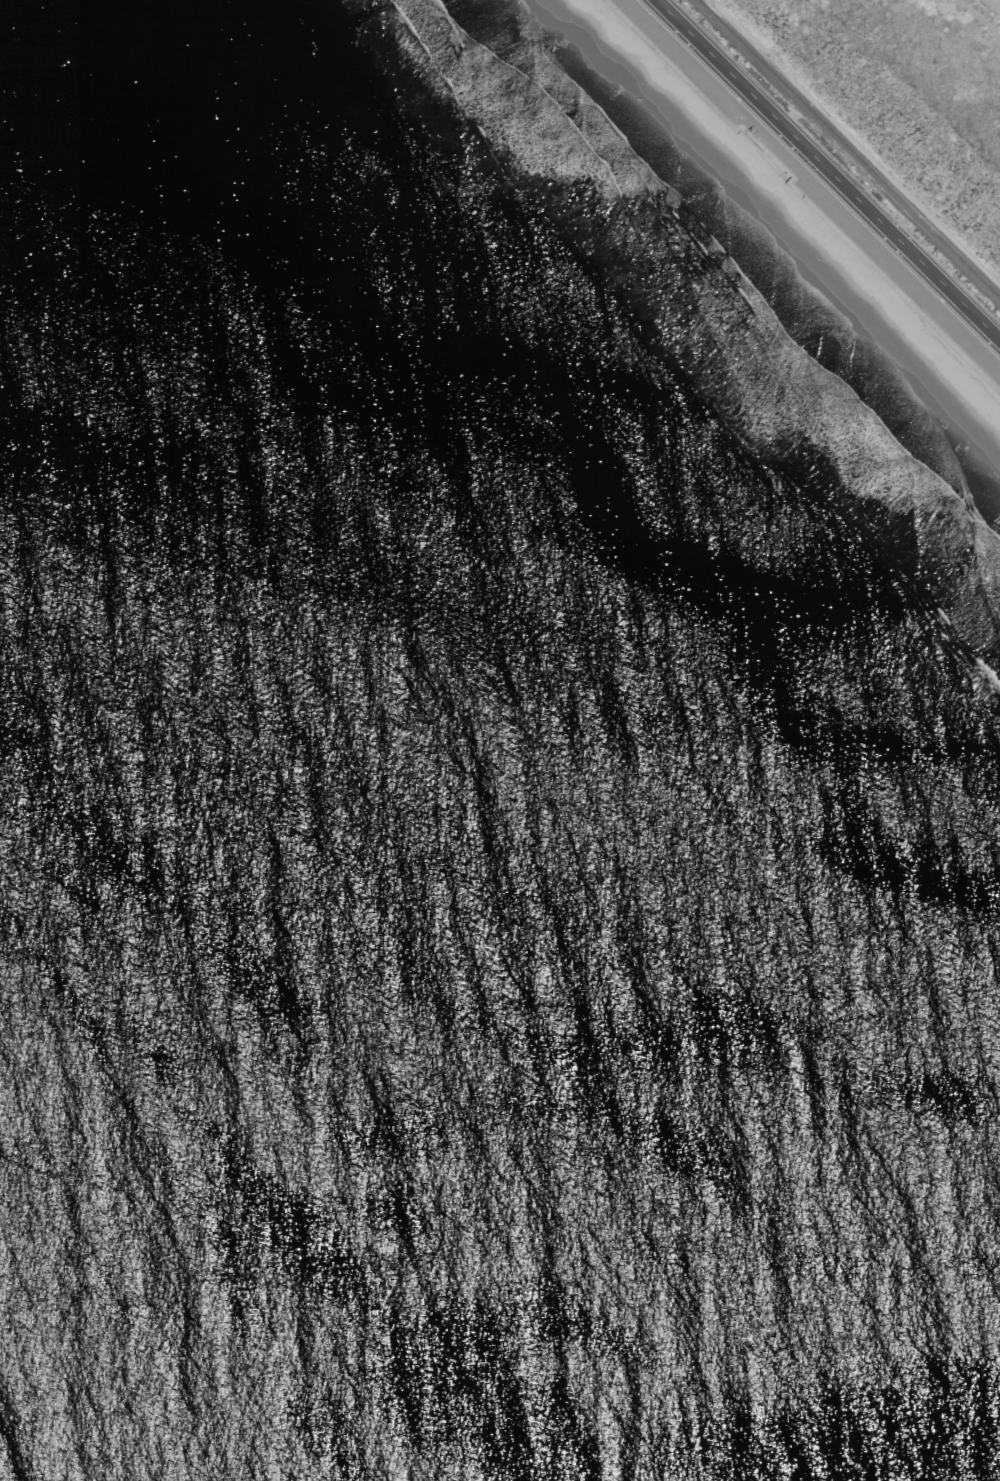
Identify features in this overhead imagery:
road: (970, 21)
railway: (848, 149)
road: (827, 172)

